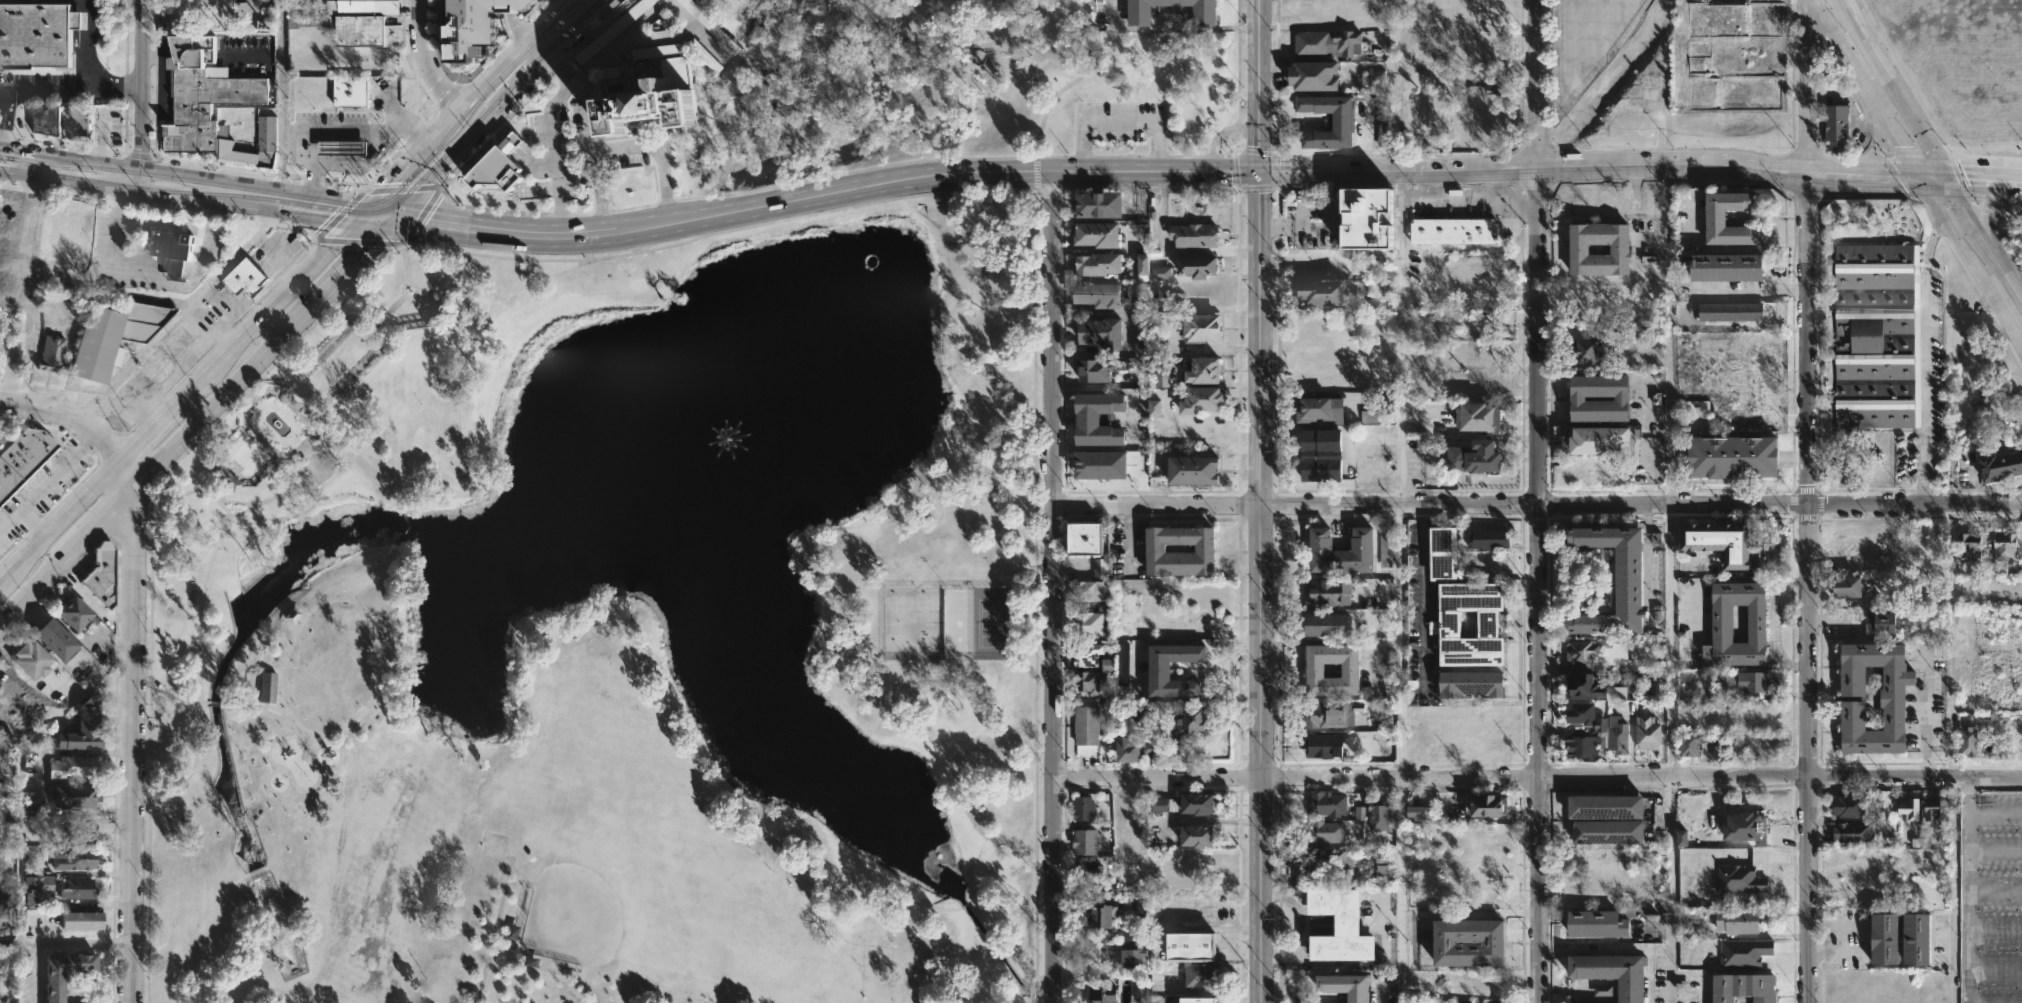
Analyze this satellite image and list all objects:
road: (1848, 9)
building: (1138, 14)
building: (627, 18)
road: (550, 19)
building: (357, 22)
building: (477, 26)
road: (580, 26)
building: (710, 26)
road: (1170, 27)
building: (37, 37)
road: (649, 38)
building: (1327, 41)
road: (540, 48)
road: (1587, 48)
building: (704, 55)
road: (430, 57)
road: (1237, 60)
road: (89, 68)
road: (563, 68)
road: (495, 73)
building: (1312, 74)
road: (531, 76)
road: (1073, 79)
building: (1378, 80)
road: (1399, 84)
park: (958, 86)
road: (1801, 86)
building: (645, 88)
road: (1864, 88)
road: (1893, 88)
building: (354, 90)
road: (280, 92)
road: (33, 93)
road: (3, 96)
road: (140, 97)
building: (223, 99)
road: (846, 104)
road: (592, 114)
building: (63, 119)
building: (1339, 119)
building: (1383, 125)
building: (1833, 126)
road: (355, 129)
road: (1219, 135)
road: (1879, 144)
building: (340, 148)
gas station: (340, 148)
road: (623, 150)
road: (304, 151)
road: (552, 153)
road: (1256, 153)
road: (416, 154)
road: (456, 154)
road: (1234, 154)
road: (1153, 155)
railway: (0, 162)
road: (349, 162)
road: (31, 164)
building: (509, 165)
railway: (34, 167)
road: (1425, 168)
road: (1276, 170)
road: (1237, 171)
traffic signals: (1258, 171)
road: (186, 173)
road: (1874, 173)
traffic signals: (1916, 175)
road: (1036, 176)
traffic signals: (1947, 176)
road: (1984, 178)
traffic signals: (432, 180)
road: (1256, 188)
road: (381, 189)
road: (135, 192)
traffic signals: (353, 197)
railway: (330, 201)
building: (1097, 203)
road: (1986, 205)
road: (386, 207)
railway: (342, 209)
road: (364, 211)
road: (313, 213)
road: (724, 214)
road: (378, 217)
building: (1714, 217)
traffic signals: (426, 218)
building: (1369, 218)
road: (1328, 227)
building: (1454, 230)
building: (1094, 233)
building: (1193, 234)
building: (67, 235)
road: (114, 235)
road: (1984, 239)
traffic signals: (330, 247)
building: (1618, 247)
building: (176, 251)
road: (242, 251)
road: (1173, 251)
road: (1259, 252)
building: (1650, 260)
road: (1970, 261)
building: (1096, 263)
road: (346, 264)
building: (1196, 266)
building: (1726, 266)
building: (1151, 267)
building: (249, 274)
road: (1606, 279)
road: (193, 280)
building: (1320, 292)
road: (1746, 292)
building: (1094, 294)
road: (428, 301)
building: (1730, 311)
road: (319, 318)
building: (1200, 327)
building: (1100, 333)
road: (1670, 333)
building: (1877, 335)
building: (112, 337)
road: (1400, 337)
road: (1802, 337)
road: (240, 343)
building: (1142, 347)
building: (1586, 350)
building: (51, 354)
road: (1926, 360)
building: (156, 364)
building: (1091, 370)
building: (1201, 370)
building: (1163, 375)
building: (1710, 377)
building: (1576, 398)
building: (1200, 400)
road: (212, 402)
building: (1155, 408)
building: (1319, 409)
fountain: (708, 413)
building: (1381, 413)
road: (68, 414)
building: (1476, 416)
road: (456, 417)
building: (1095, 418)
road: (311, 423)
road: (257, 439)
building: (1597, 439)
building: (1319, 453)
building: (1731, 456)
building: (1473, 457)
building: (23, 458)
building: (1102, 465)
building: (2000, 466)
building: (1190, 469)
road: (124, 473)
building: (225, 475)
road: (467, 477)
road: (48, 482)
road: (1536, 501)
road: (241, 503)
road: (1913, 503)
road: (1531, 504)
road: (1155, 505)
road: (33, 526)
road: (59, 526)
building: (1085, 538)
building: (1488, 538)
building: (1656, 538)
building: (1730, 546)
building: (2005, 546)
building: (1969, 547)
building: (1203, 548)
building: (1386, 548)
building: (1339, 551)
building: (1441, 553)
road: (64, 556)
building: (1100, 568)
building: (103, 573)
building: (1628, 580)
road: (1052, 586)
building: (1847, 587)
building: (1088, 591)
building: (1327, 593)
road: (1424, 598)
road: (1034, 600)
building: (75, 612)
road: (1692, 616)
road: (200, 621)
park: (913, 623)
park: (976, 623)
building: (1449, 624)
building: (1721, 624)
building: (1881, 624)
building: (1087, 625)
building: (1327, 625)
park: (619, 635)
building: (56, 639)
road: (1951, 641)
road: (1198, 642)
road: (1400, 643)
road: (383, 647)
building: (1581, 653)
building: (1088, 654)
building: (33, 660)
building: (1122, 662)
building: (1109, 664)
building: (1157, 671)
building: (1349, 671)
building: (1748, 681)
building: (1084, 683)
building: (1469, 684)
building: (61, 687)
building: (267, 687)
building: (1584, 688)
road: (167, 695)
building: (1853, 698)
road: (215, 703)
building: (3, 712)
building: (1329, 714)
building: (1580, 714)
road: (1926, 717)
building: (1190, 726)
building: (84, 728)
building: (1086, 731)
building: (1647, 733)
building: (1615, 735)
building: (1968, 742)
building: (1689, 743)
road: (130, 744)
building: (1323, 746)
building: (1582, 747)
building: (1126, 749)
road: (341, 750)
building: (1151, 751)
road: (1811, 752)
road: (1258, 753)
road: (1672, 753)
building: (73, 765)
road: (280, 769)
road: (1537, 781)
road: (270, 789)
building: (78, 795)
building: (1194, 801)
building: (1326, 802)
building: (1165, 804)
building: (1488, 804)
building: (1604, 804)
building: (1849, 804)
building: (1935, 806)
building: (1082, 807)
building: (1910, 807)
building: (1418, 810)
building: (1359, 813)
road: (1995, 813)
building: (1379, 814)
building: (1745, 827)
building: (1606, 830)
building: (1851, 831)
building: (1323, 832)
building: (80, 833)
building: (7, 835)
building: (1198, 835)
building: (1682, 838)
building: (1084, 840)
road: (1995, 849)
building: (77, 858)
building: (1330, 860)
building: (1382, 864)
building: (1089, 870)
road: (256, 872)
road: (340, 877)
building: (1740, 879)
road: (1995, 888)
building: (77, 889)
road: (1968, 890)
road: (1401, 891)
building: (35, 892)
building: (1142, 907)
park: (573, 913)
building: (1102, 913)
building: (1737, 920)
building: (83, 921)
building: (1596, 923)
building: (1337, 924)
road: (1995, 925)
road: (1839, 926)
road: (494, 929)
building: (1885, 937)
building: (1916, 937)
building: (1467, 940)
road: (63, 941)
building: (1187, 946)
building: (1745, 952)
building: (1132, 953)
road: (1840, 954)
road: (1950, 960)
road: (1995, 967)
road: (36, 972)
building: (67, 972)
building: (1613, 972)
building: (1200, 974)
building: (1343, 985)
building: (1744, 986)
building: (1101, 994)
building: (1142, 994)
building: (1195, 999)
building: (1457, 1002)

